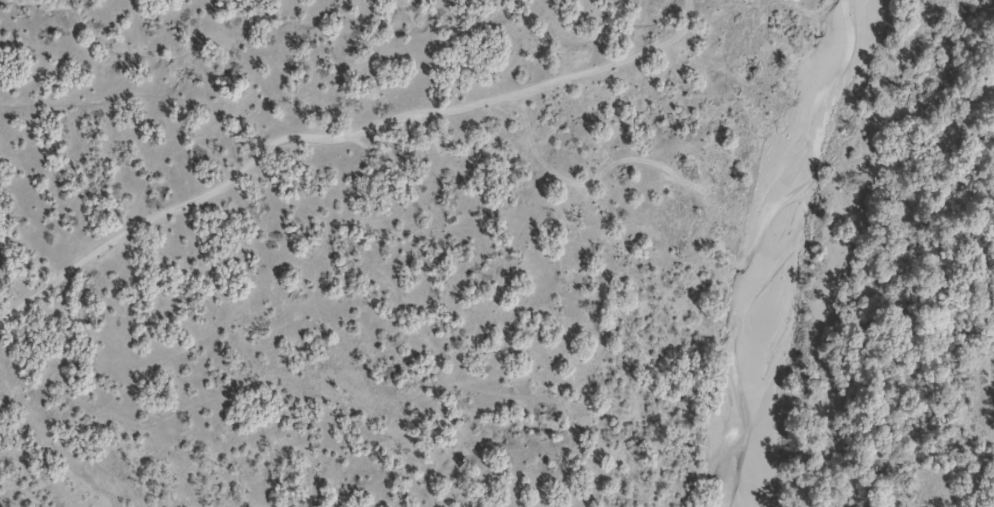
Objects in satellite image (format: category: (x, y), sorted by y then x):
road: (336, 132)
river: (771, 243)

